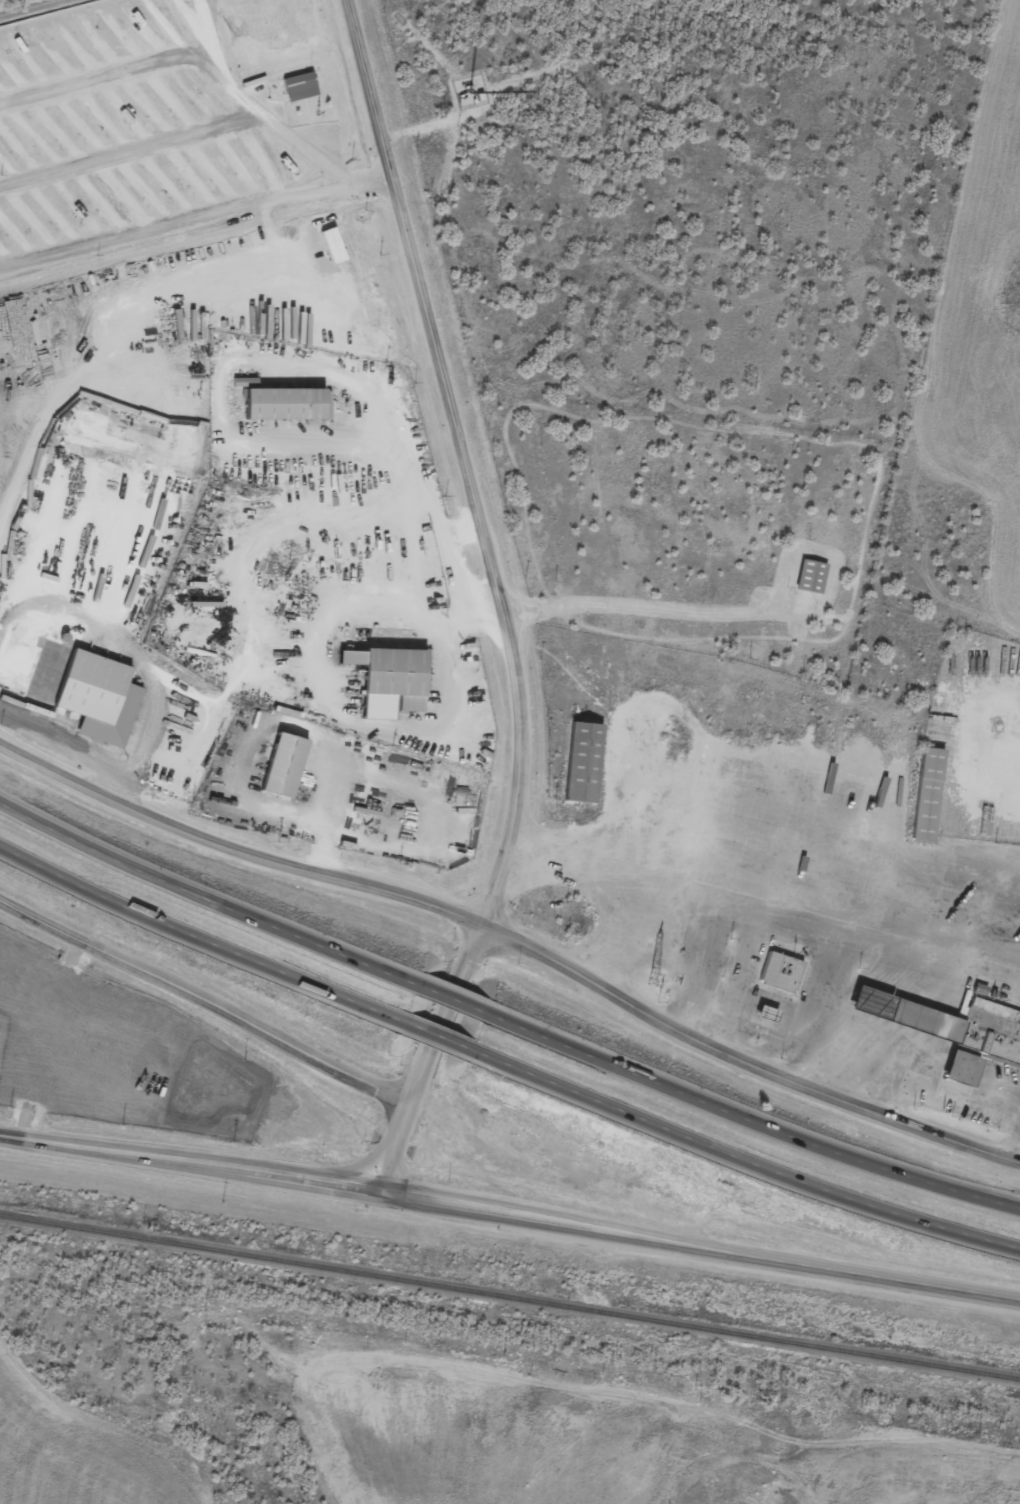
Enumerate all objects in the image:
road: (49, 13)
road: (192, 54)
building: (300, 85)
road: (130, 147)
road: (367, 173)
road: (173, 223)
building: (330, 252)
building: (359, 331)
building: (187, 380)
building: (242, 389)
building: (285, 404)
road: (465, 454)
building: (808, 583)
building: (390, 679)
building: (95, 705)
building: (580, 769)
building: (279, 772)
building: (924, 802)
road: (233, 851)
road: (203, 905)
road: (197, 944)
building: (777, 980)
road: (203, 1001)
road: (446, 1006)
building: (867, 1011)
gas station: (867, 1011)
building: (762, 1020)
gas station: (762, 1020)
building: (963, 1035)
road: (433, 1044)
road: (426, 1054)
road: (741, 1055)
building: (958, 1077)
gas station: (958, 1077)
road: (747, 1128)
road: (189, 1163)
road: (742, 1164)
road: (699, 1245)
railway: (509, 1297)

